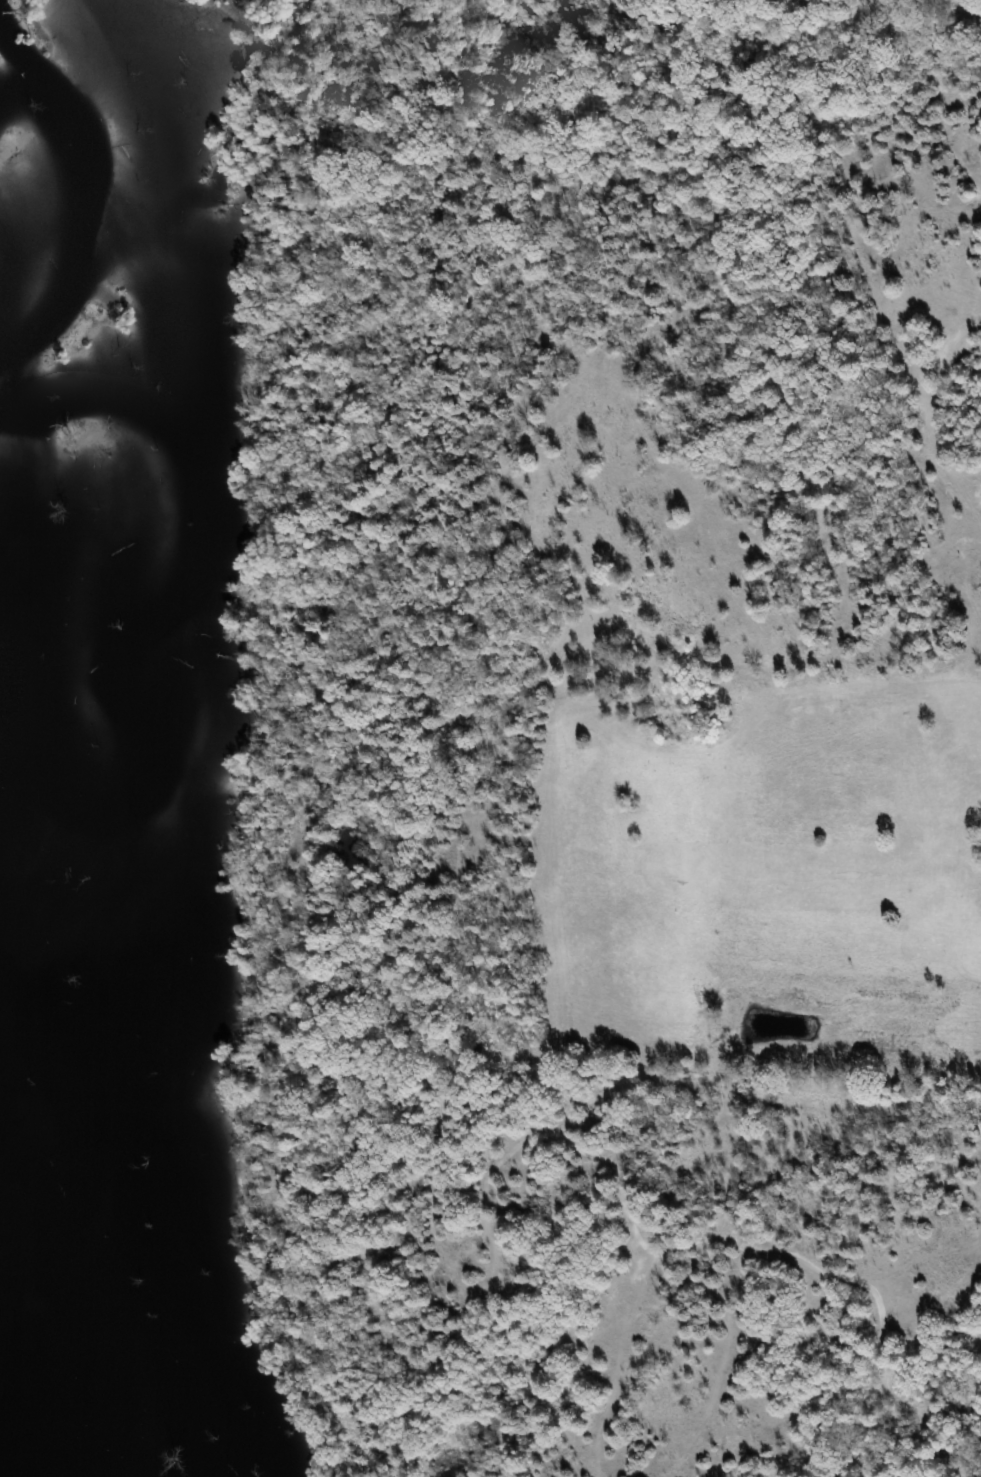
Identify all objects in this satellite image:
road: (925, 11)

